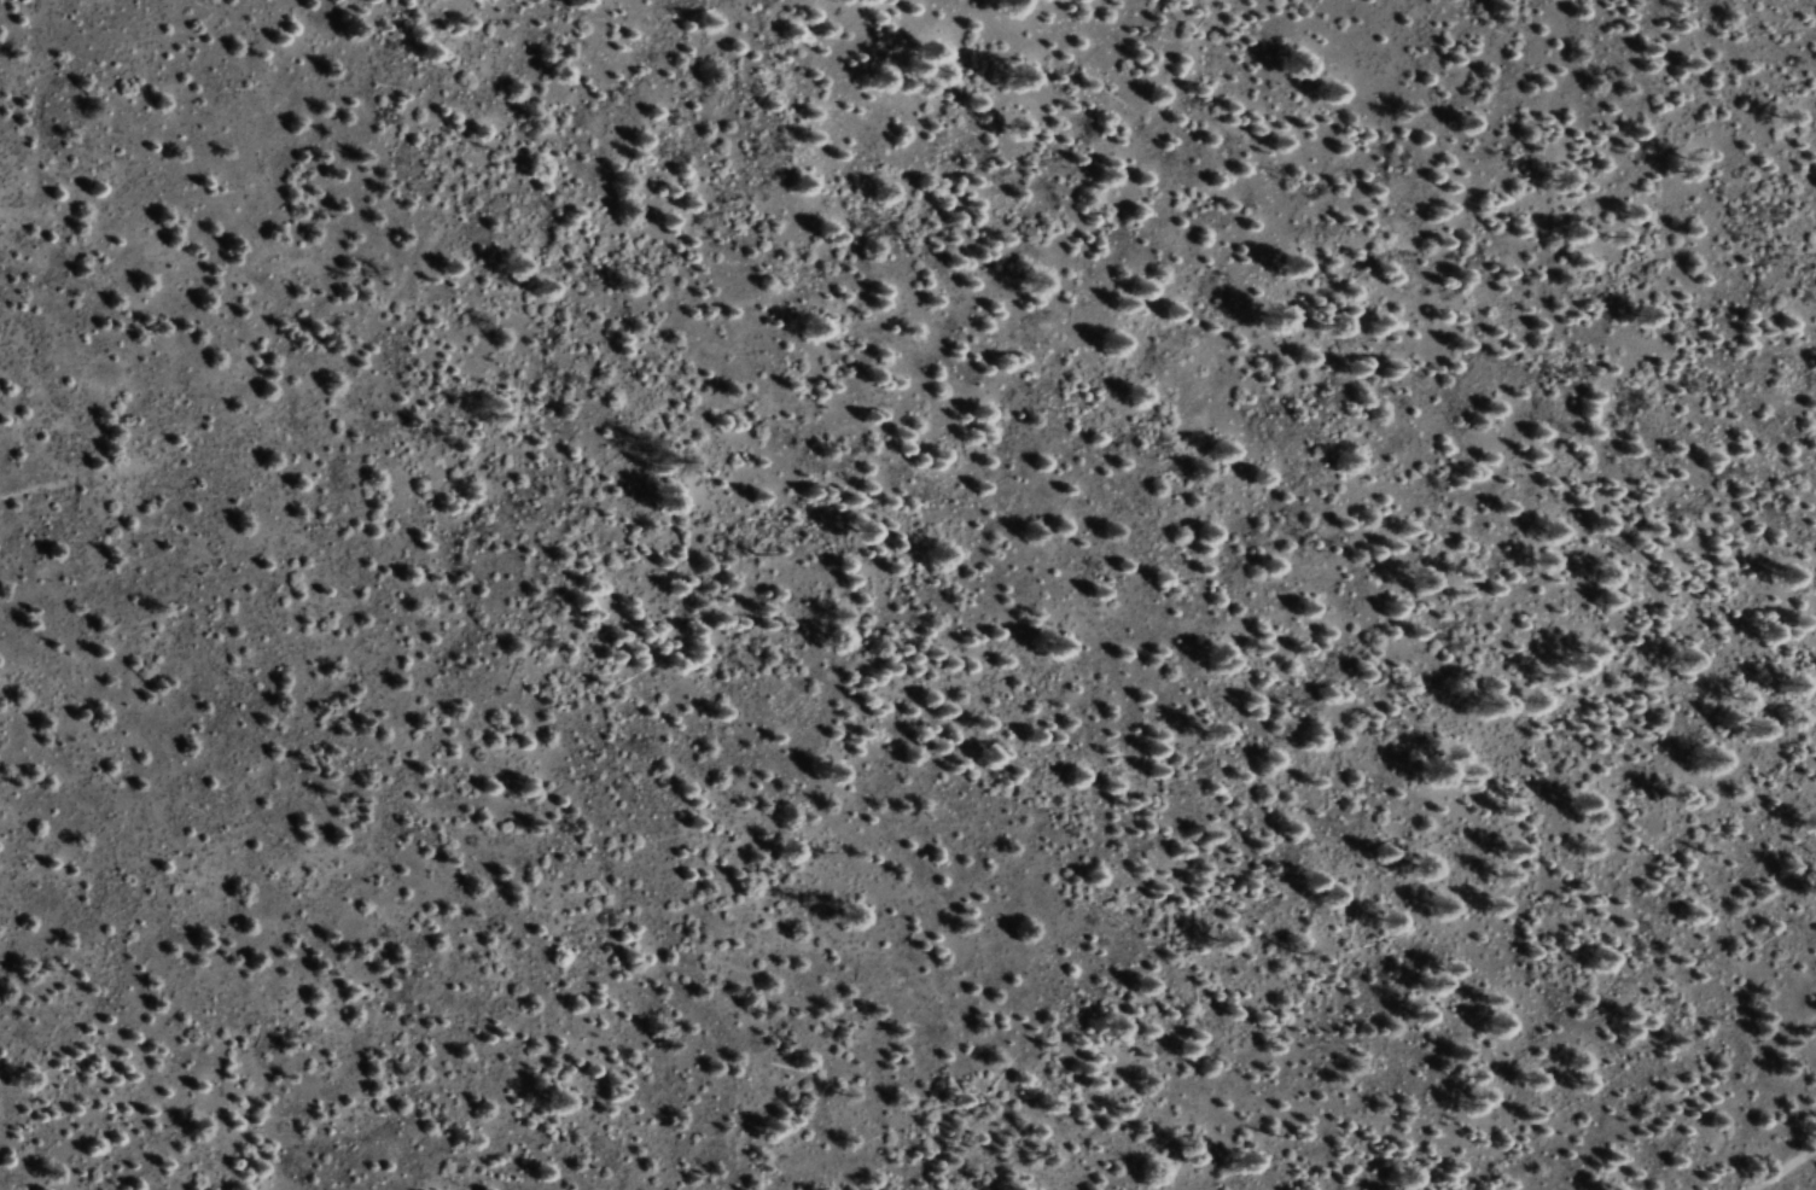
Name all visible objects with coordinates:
road: (1797, 1174)

